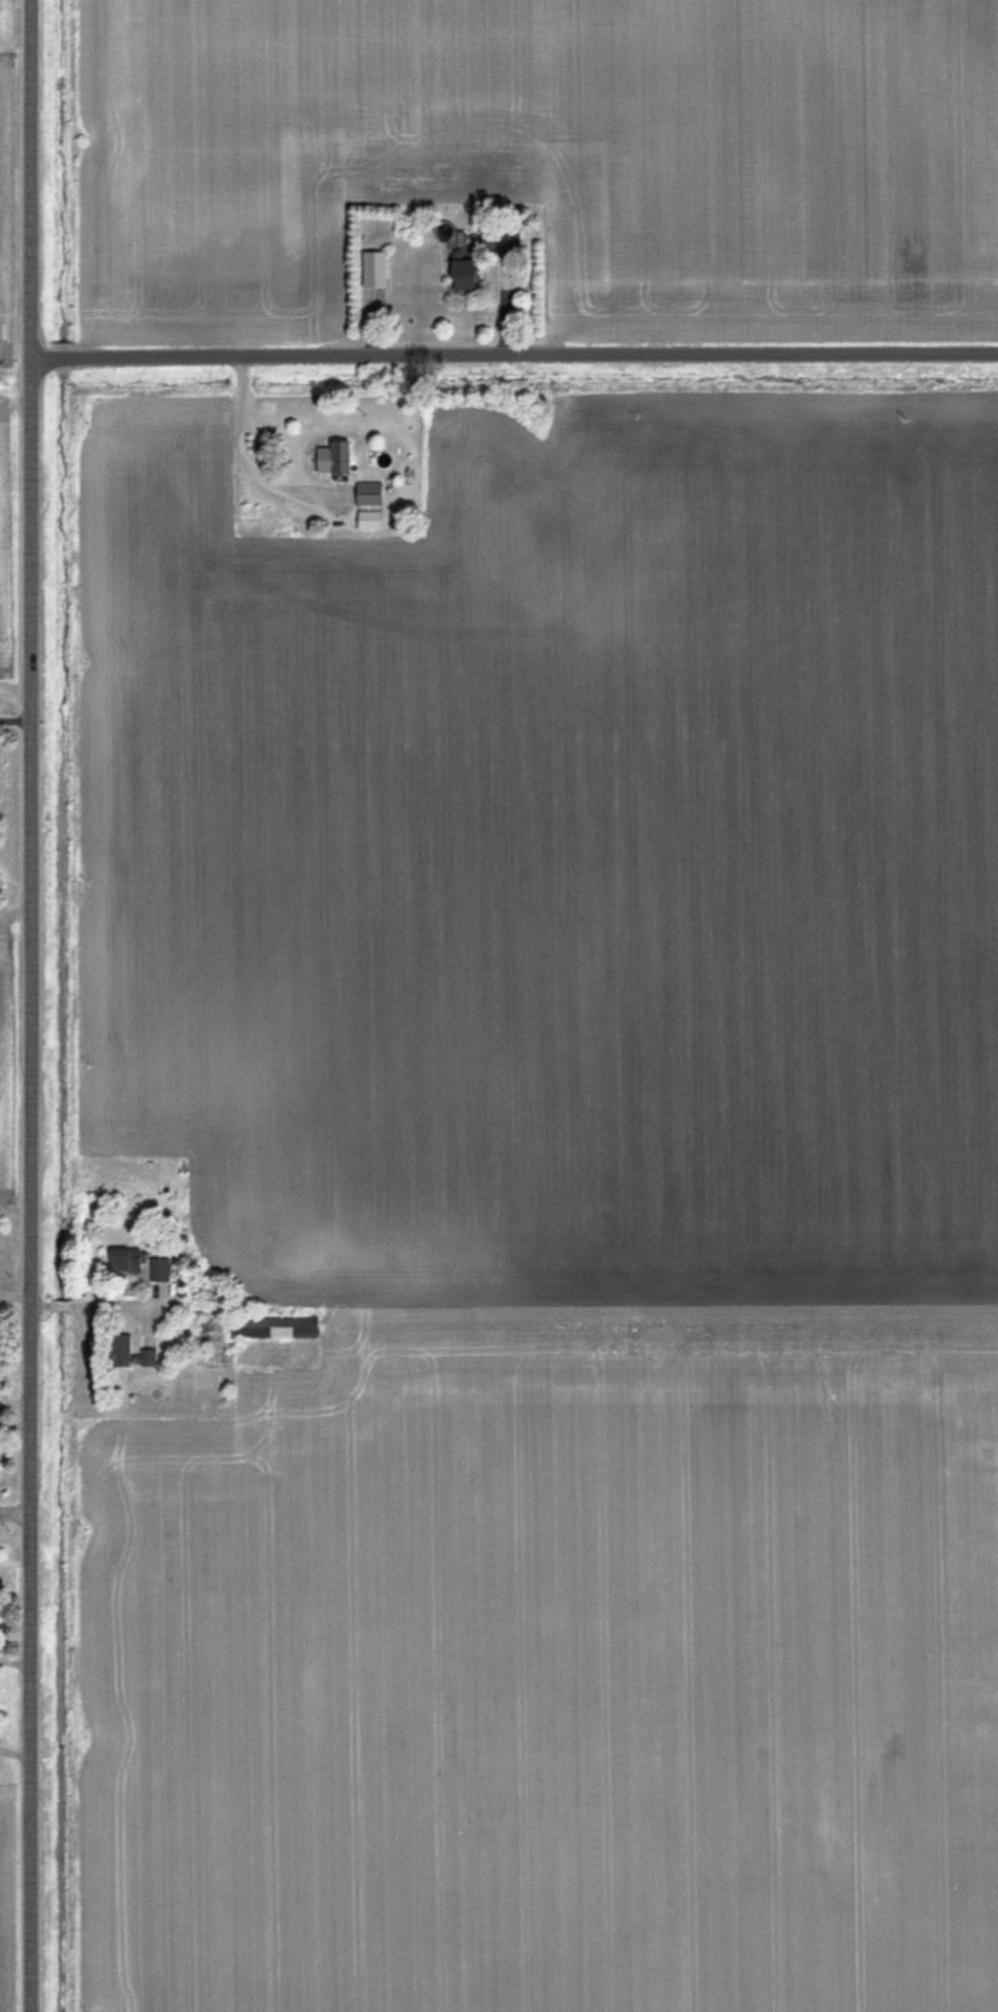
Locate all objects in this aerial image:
building: (505, 241)
building: (373, 269)
building: (460, 274)
road: (516, 358)
building: (339, 459)
road: (252, 465)
building: (368, 493)
building: (368, 518)
road: (36, 1006)
building: (122, 1259)
building: (159, 1268)
building: (120, 1349)
building: (144, 1357)

